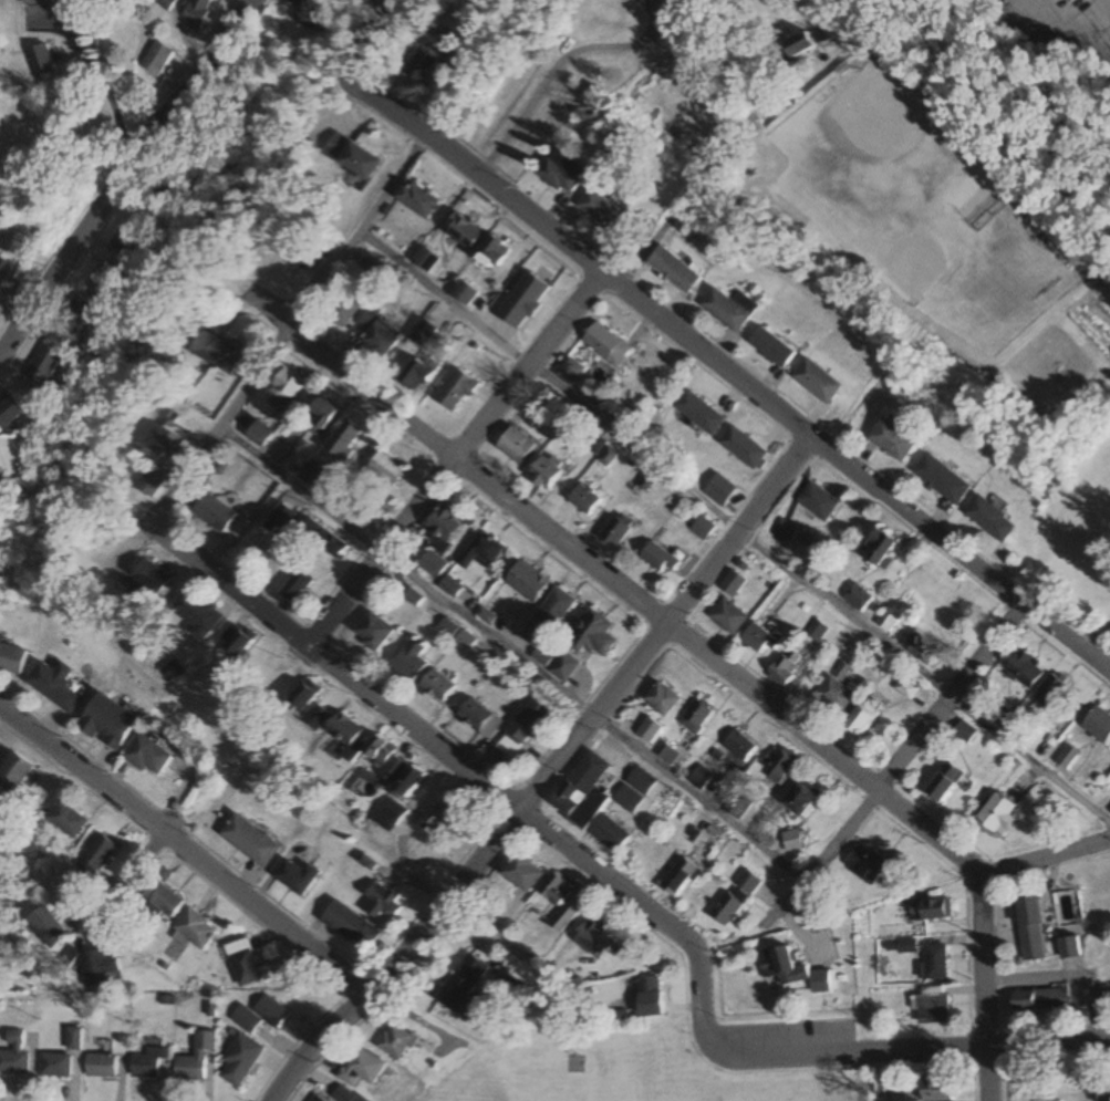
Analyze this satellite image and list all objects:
building: (35, 2)
building: (164, 3)
building: (196, 12)
building: (305, 12)
road: (1100, 15)
parking lot: (1080, 27)
building: (796, 40)
building: (155, 59)
building: (39, 61)
road: (554, 65)
building: (422, 67)
road: (484, 67)
road: (714, 153)
building: (352, 156)
building: (552, 176)
road: (125, 177)
building: (417, 199)
building: (610, 219)
building: (463, 231)
building: (134, 242)
building: (491, 252)
building: (426, 259)
road: (342, 260)
building: (372, 264)
building: (670, 267)
building: (3, 268)
road: (871, 278)
building: (465, 293)
building: (724, 308)
building: (344, 310)
building: (79, 314)
building: (378, 333)
building: (605, 345)
building: (769, 345)
building: (221, 352)
building: (44, 366)
building: (570, 372)
building: (818, 380)
building: (287, 386)
building: (456, 392)
road: (769, 405)
building: (10, 412)
building: (695, 412)
building: (324, 413)
building: (260, 434)
building: (890, 438)
building: (345, 440)
building: (170, 445)
building: (517, 446)
building: (740, 448)
road: (457, 459)
building: (386, 469)
building: (546, 474)
building: (315, 475)
building: (938, 478)
building: (155, 481)
building: (584, 500)
building: (816, 501)
building: (215, 513)
building: (361, 516)
building: (283, 517)
building: (986, 517)
building: (445, 526)
building: (702, 528)
road: (736, 529)
building: (615, 531)
building: (324, 540)
building: (481, 552)
building: (660, 560)
building: (433, 564)
building: (527, 582)
building: (149, 583)
building: (732, 584)
building: (298, 585)
building: (857, 598)
building: (556, 609)
building: (199, 613)
building: (728, 616)
building: (888, 621)
road: (666, 625)
building: (816, 631)
building: (373, 632)
building: (239, 641)
building: (759, 641)
building: (583, 646)
building: (922, 647)
road: (513, 655)
building: (13, 659)
building: (411, 661)
road: (338, 666)
building: (786, 667)
building: (1025, 669)
road: (726, 671)
building: (438, 685)
building: (55, 686)
building: (1049, 690)
building: (836, 694)
building: (662, 699)
building: (310, 705)
building: (697, 716)
building: (480, 718)
building: (861, 720)
building: (107, 723)
building: (1098, 726)
building: (522, 728)
building: (649, 730)
building: (345, 731)
building: (964, 734)
building: (740, 745)
road: (913, 745)
building: (666, 755)
building: (148, 756)
building: (386, 759)
building: (779, 766)
building: (13, 772)
building: (699, 778)
building: (408, 782)
building: (944, 783)
building: (581, 785)
building: (634, 790)
building: (802, 799)
building: (1109, 811)
building: (394, 812)
building: (2, 814)
building: (440, 817)
building: (997, 817)
building: (66, 820)
building: (606, 833)
building: (252, 841)
building: (792, 841)
road: (185, 848)
building: (98, 854)
road: (146, 856)
road: (1047, 858)
building: (868, 865)
building: (522, 874)
building: (299, 877)
building: (678, 879)
building: (734, 899)
building: (160, 900)
building: (383, 902)
building: (558, 903)
building: (930, 911)
road: (651, 917)
building: (46, 927)
building: (352, 927)
building: (194, 931)
building: (1031, 931)
building: (593, 939)
building: (1069, 948)
road: (397, 958)
building: (243, 963)
building: (935, 963)
building: (96, 970)
building: (791, 972)
building: (461, 983)
building: (649, 998)
building: (1040, 1000)
building: (933, 1006)
building: (262, 1015)
building: (395, 1042)
road: (916, 1049)
building: (13, 1056)
building: (195, 1058)
building: (239, 1061)
building: (146, 1064)
building: (54, 1066)
building: (100, 1066)
building: (360, 1069)
road: (1091, 1070)
park: (630, 1074)
road: (858, 1077)
building: (936, 1089)

